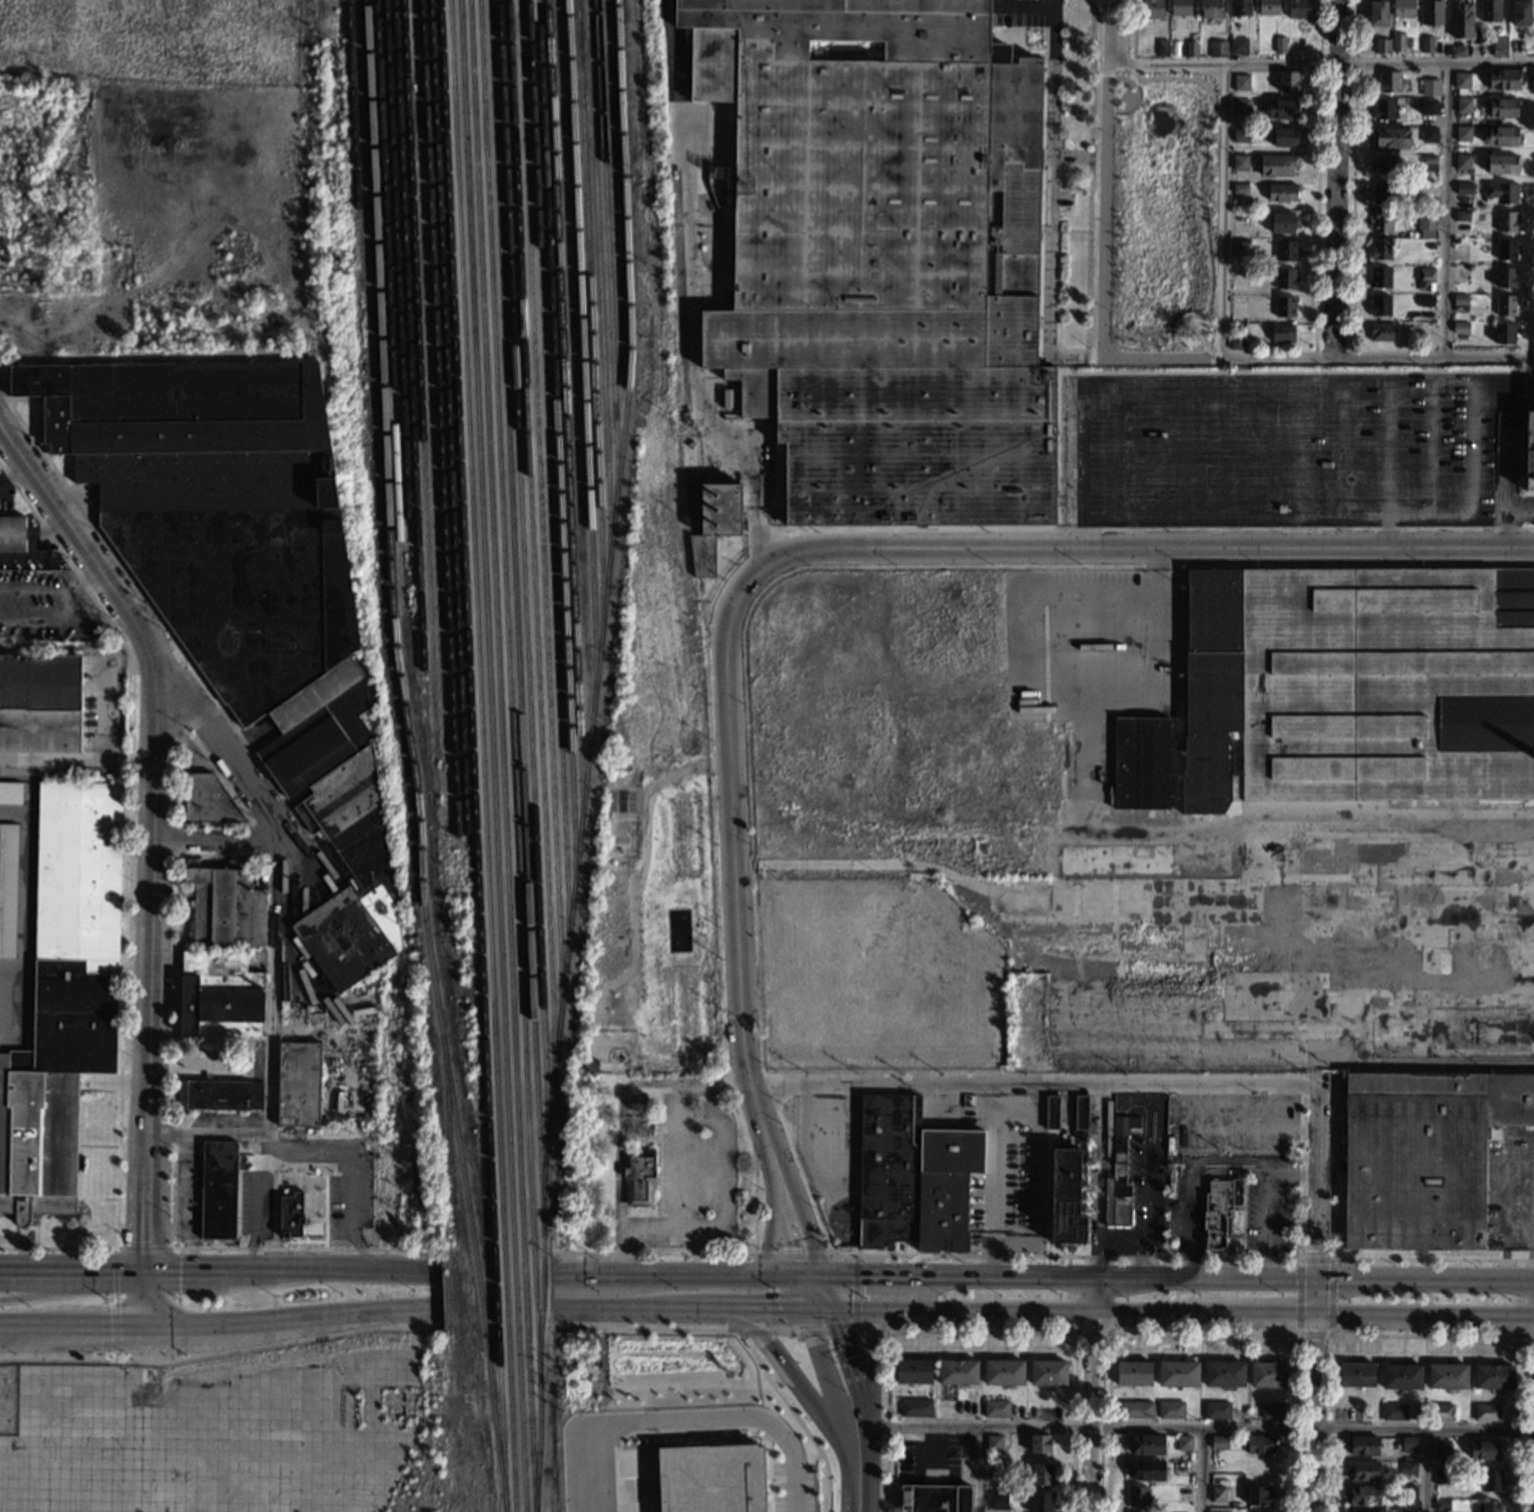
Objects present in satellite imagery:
road: (1024, 5)
building: (1179, 7)
building: (1267, 7)
building: (1239, 8)
building: (1295, 8)
building: (1403, 8)
building: (1152, 9)
building: (1209, 9)
building: (1489, 10)
parking lot: (1018, 12)
building: (1431, 12)
building: (1520, 12)
building: (1377, 13)
building: (1460, 20)
road: (1132, 28)
road: (1113, 31)
building: (1397, 42)
building: (1278, 44)
building: (1427, 44)
building: (1240, 46)
building: (1380, 46)
building: (1498, 46)
building: (1161, 48)
building: (1190, 48)
building: (1216, 49)
building: (1457, 52)
road: (1323, 64)
road: (1132, 69)
building: (1502, 79)
building: (1460, 80)
building: (1287, 81)
building: (1240, 82)
building: (1386, 82)
building: (1429, 88)
building: (1463, 105)
building: (1241, 106)
building: (1426, 106)
building: (1501, 108)
road: (1132, 109)
building: (1280, 109)
building: (1390, 110)
railway: (354, 112)
building: (1428, 134)
building: (1463, 134)
building: (1240, 135)
building: (1500, 136)
building: (1283, 137)
building: (1390, 137)
road: (1071, 156)
building: (1239, 162)
building: (1462, 162)
building: (1499, 163)
building: (1384, 164)
building: (1275, 165)
building: (1428, 165)
road: (1198, 175)
road: (1317, 178)
road: (1335, 178)
road: (1352, 179)
building: (1239, 188)
building: (1463, 188)
building: (1280, 193)
building: (1380, 193)
building: (1501, 193)
road: (1051, 204)
road: (1104, 209)
road: (1223, 211)
road: (1446, 211)
building: (1460, 216)
building: (1380, 221)
building: (1425, 221)
building: (1505, 221)
building: (1281, 223)
building: (1240, 245)
building: (1379, 248)
building: (1505, 249)
building: (1284, 250)
railway: (607, 260)
building: (882, 260)
railway: (395, 268)
building: (1238, 271)
building: (1379, 277)
building: (1283, 278)
building: (1504, 278)
building: (1426, 280)
road: (693, 290)
railway: (599, 292)
building: (1424, 301)
building: (1459, 304)
building: (1379, 305)
building: (1504, 305)
building: (1283, 307)
railway: (389, 311)
building: (153, 319)
railway: (590, 324)
building: (1459, 327)
building: (1379, 331)
building: (1281, 333)
building: (1503, 333)
building: (1235, 340)
railway: (408, 353)
railway: (582, 356)
road: (1318, 358)
road: (1064, 365)
road: (1224, 371)
road: (1450, 377)
road: (1100, 381)
railway: (381, 387)
railway: (419, 402)
railway: (438, 420)
railway: (448, 420)
railway: (565, 421)
road: (1276, 446)
building: (1528, 447)
road: (1254, 448)
parking lot: (1287, 448)
road: (1299, 448)
road: (1388, 448)
road: (1167, 449)
road: (1211, 449)
road: (1343, 449)
railway: (556, 453)
road: (13, 476)
railway: (548, 485)
building: (1279, 508)
railway: (540, 517)
road: (1276, 518)
building: (713, 524)
road: (1147, 528)
road: (1390, 532)
building: (11, 533)
road: (78, 546)
road: (1145, 548)
railway: (531, 549)
road: (78, 578)
railway: (524, 582)
building: (245, 586)
road: (31, 589)
road: (1090, 592)
parking lot: (42, 608)
road: (153, 610)
railway: (603, 615)
road: (52, 621)
building: (104, 644)
road: (150, 646)
parking lot: (1093, 656)
road: (183, 690)
railway: (519, 690)
building: (1346, 690)
building: (39, 703)
road: (102, 737)
railway: (511, 755)
railway: (473, 756)
railway: (482, 756)
railway: (492, 756)
railway: (501, 756)
road: (210, 765)
road: (251, 788)
building: (10, 793)
building: (208, 801)
road: (14, 813)
road: (643, 823)
road: (222, 840)
road: (166, 854)
railway: (421, 855)
road: (752, 856)
road: (865, 865)
building: (8, 888)
road: (122, 896)
road: (25, 902)
building: (223, 908)
road: (738, 924)
road: (150, 966)
road: (11, 976)
building: (218, 995)
building: (62, 997)
road: (271, 1047)
road: (876, 1083)
building: (297, 1084)
building: (221, 1095)
building: (1050, 1113)
building: (1079, 1113)
road: (174, 1134)
road: (1519, 1137)
road: (274, 1146)
road: (307, 1152)
building: (1423, 1156)
road: (681, 1157)
road: (1229, 1157)
building: (889, 1172)
building: (1118, 1175)
building: (638, 1177)
building: (946, 1186)
building: (217, 1191)
road: (1150, 1194)
building: (1066, 1198)
road: (1319, 1201)
road: (722, 1209)
building: (1220, 1212)
building: (291, 1213)
road: (773, 1220)
railway: (468, 1224)
road: (1126, 1237)
road: (739, 1254)
road: (794, 1255)
road: (1341, 1258)
road: (50, 1269)
road: (120, 1271)
road: (191, 1271)
road: (267, 1272)
road: (366, 1272)
road: (115, 1277)
road: (682, 1277)
road: (1020, 1278)
road: (1303, 1278)
road: (874, 1279)
traffic signals: (810, 1280)
road: (1518, 1282)
road: (1532, 1283)
road: (51, 1288)
road: (854, 1294)
road: (815, 1296)
road: (1101, 1297)
road: (140, 1299)
road: (613, 1308)
road: (709, 1310)
road: (783, 1311)
traffic signals: (820, 1312)
road: (1016, 1315)
road: (290, 1317)
road: (1264, 1317)
road: (1424, 1319)
road: (767, 1323)
road: (15, 1326)
road: (84, 1327)
road: (813, 1332)
road: (981, 1332)
road: (15, 1333)
road: (1092, 1333)
road: (1202, 1333)
road: (1331, 1335)
road: (1426, 1336)
road: (1529, 1337)
road: (744, 1341)
road: (866, 1352)
road: (221, 1353)
road: (871, 1367)
building: (913, 1371)
building: (956, 1371)
building: (1001, 1372)
building: (1047, 1372)
building: (1132, 1373)
building: (1177, 1374)
building: (1223, 1374)
building: (1267, 1375)
building: (1356, 1375)
building: (1400, 1377)
building: (1447, 1377)
building: (1493, 1377)
road: (802, 1389)
road: (843, 1389)
road: (1090, 1394)
building: (914, 1407)
building: (995, 1409)
building: (1135, 1409)
building: (1171, 1410)
building: (1216, 1410)
building: (1272, 1411)
building: (1393, 1412)
building: (1439, 1412)
building: (1485, 1413)
road: (1316, 1414)
road: (685, 1419)
road: (1194, 1429)
building: (1218, 1442)
building: (992, 1443)
building: (1039, 1443)
building: (1183, 1443)
building: (1146, 1444)
building: (1259, 1445)
building: (1408, 1445)
building: (1362, 1446)
building: (1441, 1448)
building: (1484, 1450)
road: (979, 1469)
building: (1146, 1469)
building: (1408, 1469)
building: (1360, 1470)
building: (996, 1471)
road: (1201, 1471)
road: (1426, 1471)
building: (1040, 1474)
building: (1441, 1477)
building: (710, 1479)
building: (1490, 1482)
road: (857, 1490)
building: (1217, 1494)
building: (1408, 1494)
building: (1183, 1495)
building: (1360, 1496)
building: (1136, 1497)
building: (1257, 1497)
building: (939, 1499)
building: (997, 1500)
building: (1039, 1502)
building: (1442, 1506)
building: (1489, 1508)
building: (1219, 1511)
building: (1354, 1511)
building: (1407, 1511)

